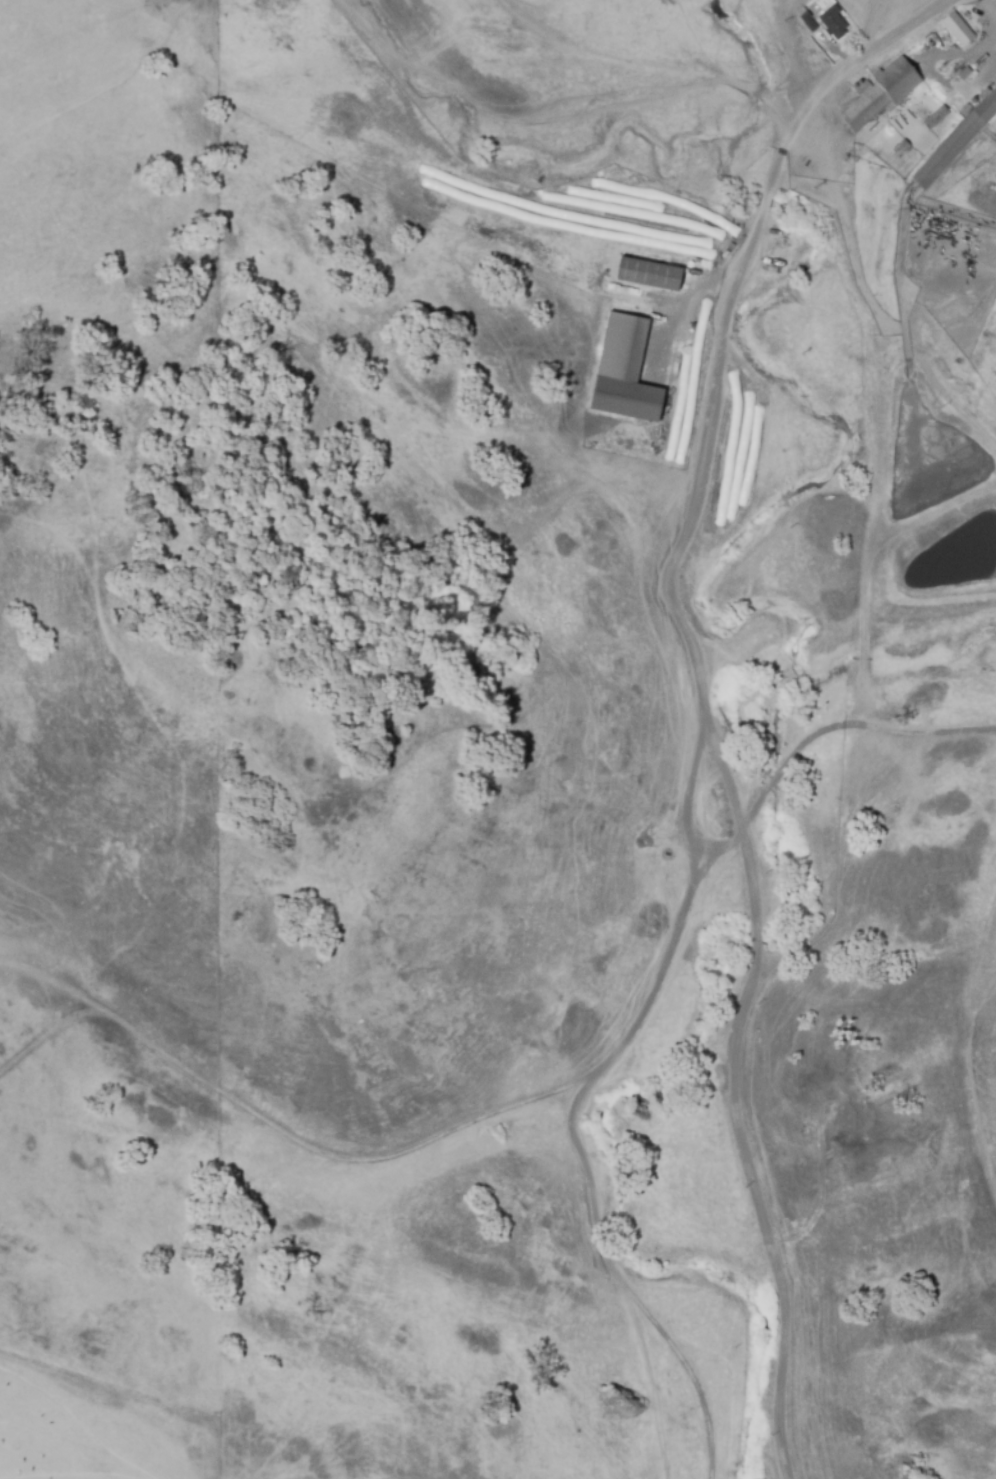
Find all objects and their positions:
road: (990, 4)
building: (809, 22)
building: (834, 22)
building: (959, 30)
building: (881, 95)
building: (934, 117)
building: (956, 142)
building: (650, 275)
building: (629, 371)
road: (707, 701)
road: (843, 725)
road: (685, 799)
road: (418, 1149)

